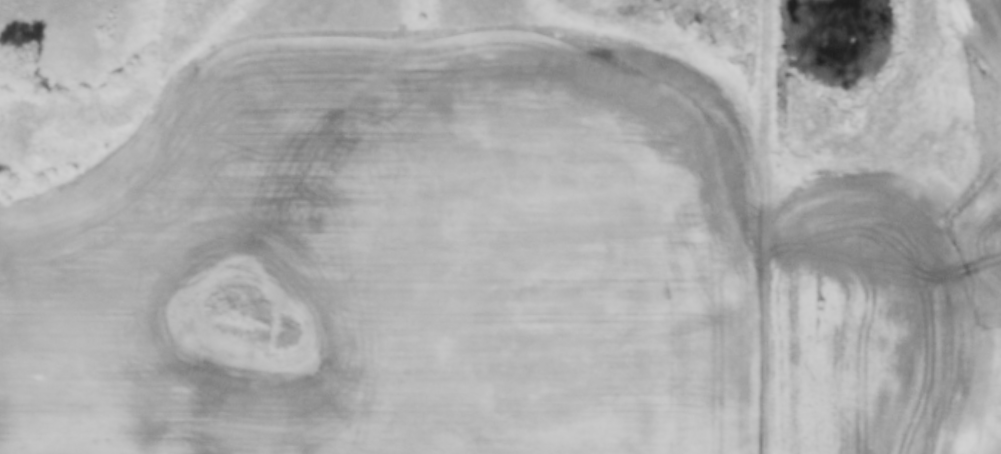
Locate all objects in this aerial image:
road: (762, 227)

